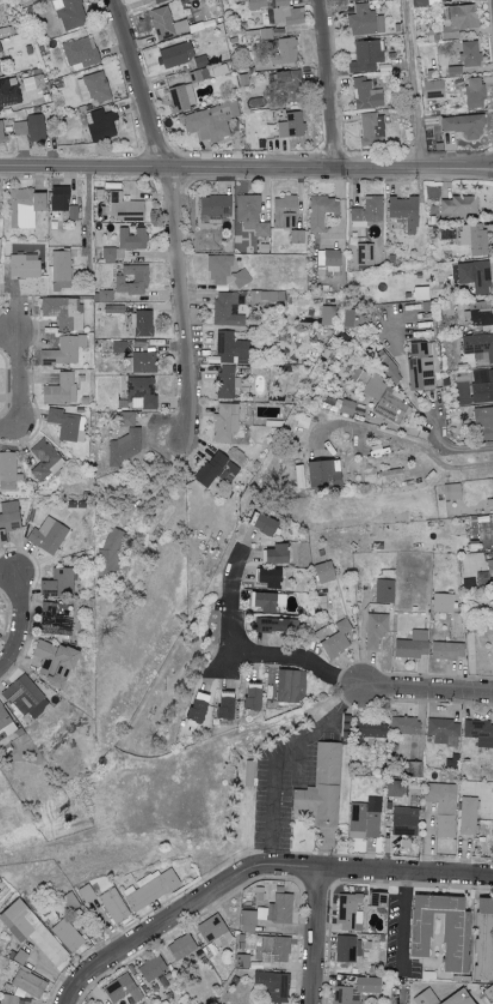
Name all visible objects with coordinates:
building: (158, 1)
building: (425, 2)
building: (255, 4)
building: (68, 14)
building: (283, 14)
building: (456, 20)
building: (363, 21)
building: (165, 24)
building: (283, 52)
building: (79, 53)
building: (468, 54)
building: (0, 55)
building: (174, 55)
building: (365, 56)
building: (453, 71)
building: (196, 75)
building: (33, 82)
building: (286, 84)
road: (329, 84)
road: (413, 85)
building: (92, 87)
building: (432, 89)
building: (472, 92)
building: (8, 93)
building: (364, 94)
building: (180, 98)
building: (209, 121)
building: (463, 125)
building: (100, 126)
building: (290, 126)
building: (19, 128)
building: (35, 128)
building: (370, 129)
building: (1, 133)
road: (246, 168)
building: (58, 197)
building: (213, 206)
building: (23, 207)
building: (123, 207)
building: (455, 207)
building: (71, 211)
building: (282, 211)
building: (319, 211)
building: (366, 211)
building: (403, 211)
building: (249, 214)
road: (173, 223)
building: (295, 235)
building: (472, 237)
building: (131, 238)
building: (363, 253)
building: (107, 254)
building: (327, 262)
building: (23, 265)
building: (59, 265)
building: (223, 271)
building: (479, 277)
building: (130, 279)
building: (103, 295)
building: (259, 296)
building: (225, 309)
building: (62, 311)
building: (479, 312)
building: (326, 315)
building: (140, 323)
building: (478, 345)
building: (231, 348)
building: (62, 350)
building: (139, 362)
building: (418, 367)
building: (387, 368)
building: (359, 375)
building: (225, 381)
building: (481, 385)
road: (21, 387)
building: (59, 389)
building: (139, 391)
building: (385, 400)
building: (346, 406)
building: (124, 418)
building: (224, 422)
building: (483, 422)
building: (66, 424)
building: (122, 447)
road: (456, 448)
road: (422, 449)
building: (44, 460)
building: (215, 469)
building: (7, 470)
building: (322, 473)
building: (450, 491)
building: (492, 492)
building: (8, 523)
building: (263, 523)
building: (46, 537)
building: (274, 554)
building: (109, 555)
building: (490, 562)
building: (322, 571)
building: (267, 577)
building: (56, 582)
building: (383, 590)
building: (279, 600)
building: (261, 601)
building: (442, 602)
building: (52, 623)
building: (275, 625)
road: (21, 630)
building: (373, 630)
building: (335, 639)
building: (492, 640)
building: (411, 645)
building: (445, 650)
road: (248, 652)
building: (52, 662)
building: (289, 686)
road: (425, 690)
building: (251, 696)
building: (23, 697)
building: (223, 705)
building: (195, 707)
building: (5, 724)
building: (403, 725)
building: (442, 731)
building: (479, 732)
road: (279, 758)
building: (247, 773)
building: (412, 773)
building: (321, 786)
building: (466, 788)
building: (441, 806)
building: (466, 816)
building: (362, 821)
building: (404, 822)
building: (370, 845)
road: (377, 871)
building: (149, 887)
building: (375, 899)
building: (113, 905)
building: (278, 907)
building: (348, 912)
building: (246, 920)
road: (402, 924)
road: (161, 927)
building: (210, 928)
building: (34, 932)
building: (454, 934)
building: (66, 935)
road: (318, 936)
building: (482, 938)
building: (180, 946)
building: (270, 948)
building: (344, 948)
building: (150, 968)
road: (55, 971)
building: (27, 982)
building: (272, 984)
building: (367, 984)
building: (120, 989)
building: (488, 993)
building: (342, 995)
building: (462, 998)

